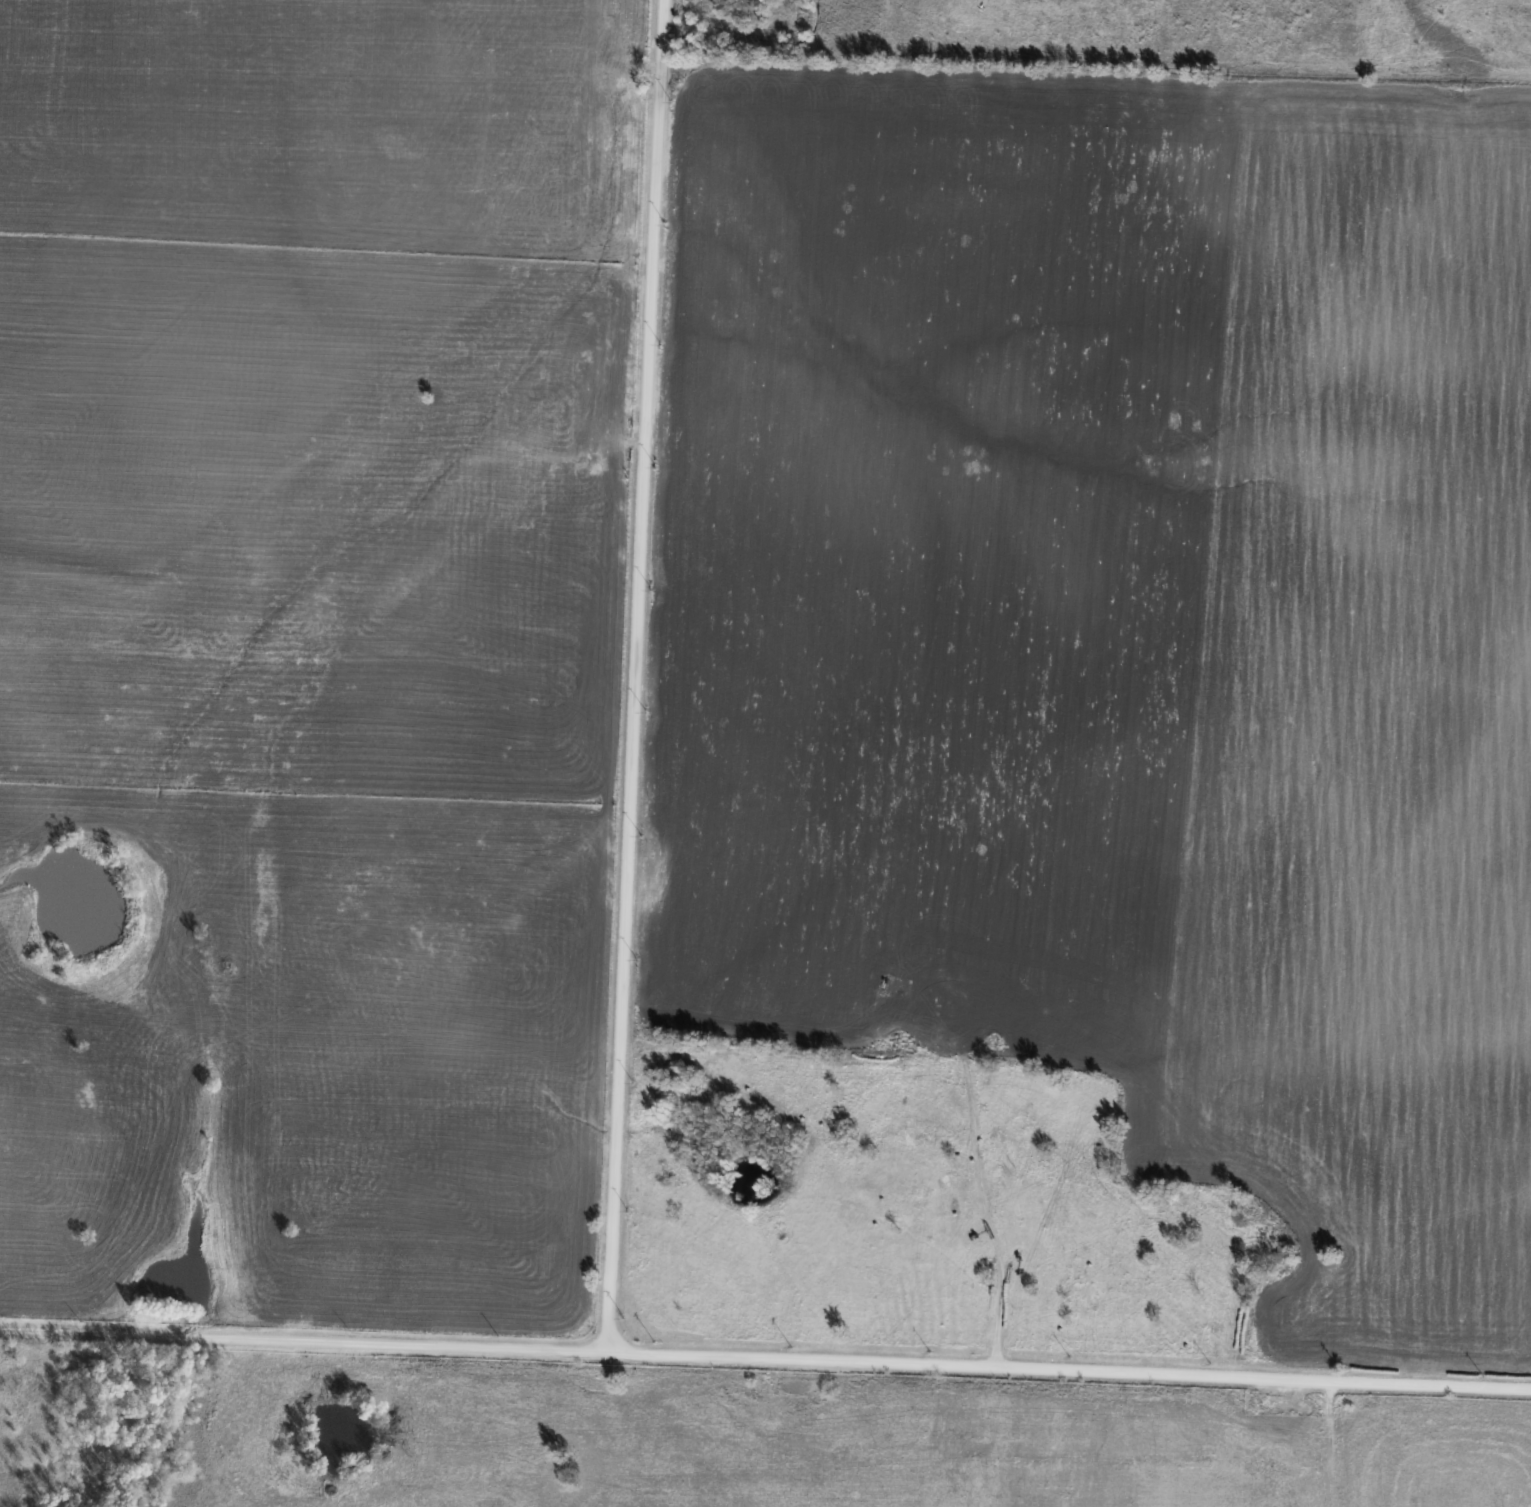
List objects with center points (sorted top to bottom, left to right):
road: (633, 676)
road: (765, 1359)

